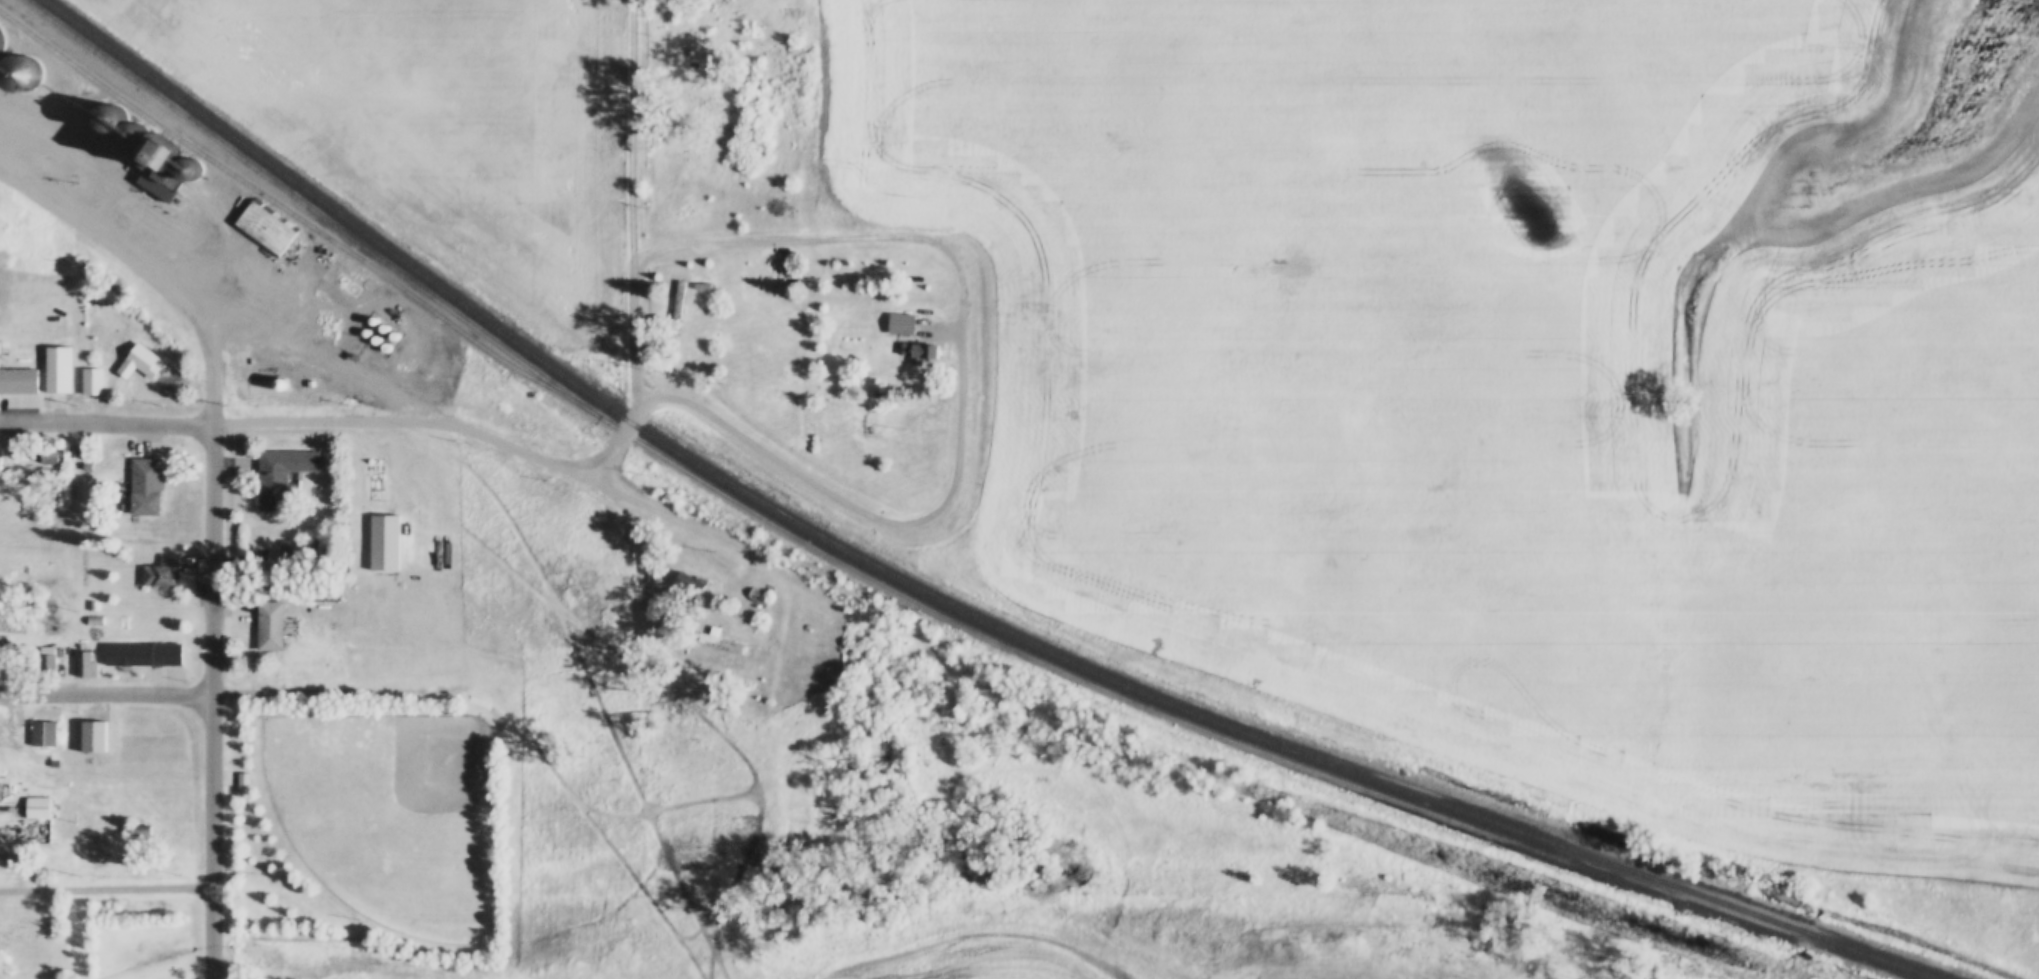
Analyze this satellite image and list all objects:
building: (16, 60)
silo: (16, 60)
building: (105, 106)
silo: (105, 106)
building: (128, 120)
silo: (128, 120)
road: (636, 133)
building: (152, 144)
building: (182, 157)
silo: (182, 157)
building: (150, 170)
building: (257, 216)
railway: (296, 216)
road: (802, 238)
building: (694, 274)
building: (671, 287)
building: (368, 307)
silo: (368, 307)
building: (893, 311)
building: (377, 315)
silo: (377, 315)
building: (360, 318)
silo: (360, 318)
building: (387, 323)
silo: (387, 323)
building: (902, 323)
building: (369, 325)
silo: (369, 325)
road: (277, 330)
building: (379, 333)
silo: (379, 333)
building: (910, 338)
storage tank: (16, 345)
building: (346, 345)
building: (132, 349)
building: (0, 350)
building: (920, 351)
road: (213, 354)
building: (50, 357)
building: (142, 363)
building: (15, 368)
building: (85, 370)
building: (273, 371)
silo: (273, 371)
crop: (1523, 379)
building: (19, 382)
road: (637, 382)
building: (93, 383)
road: (963, 408)
road: (327, 419)
road: (107, 421)
building: (39, 443)
road: (770, 452)
building: (274, 463)
building: (2, 466)
building: (137, 474)
building: (148, 487)
building: (377, 531)
building: (306, 548)
road: (749, 551)
railway: (838, 560)
building: (154, 561)
building: (683, 569)
building: (164, 571)
building: (749, 583)
building: (686, 584)
building: (83, 592)
building: (327, 593)
building: (756, 596)
railway: (934, 599)
building: (88, 607)
building: (262, 613)
building: (271, 625)
building: (713, 629)
building: (136, 641)
building: (726, 644)
building: (0, 650)
building: (40, 652)
building: (78, 653)
road: (335, 691)
road: (107, 694)
road: (215, 700)
building: (36, 721)
building: (87, 725)
building: (45, 732)
building: (2, 740)
building: (47, 750)
building: (236, 770)
building: (243, 782)
building: (1, 791)
building: (30, 794)
park: (383, 802)
building: (37, 807)
building: (142, 831)
building: (20, 840)
road: (108, 888)
building: (40, 974)

